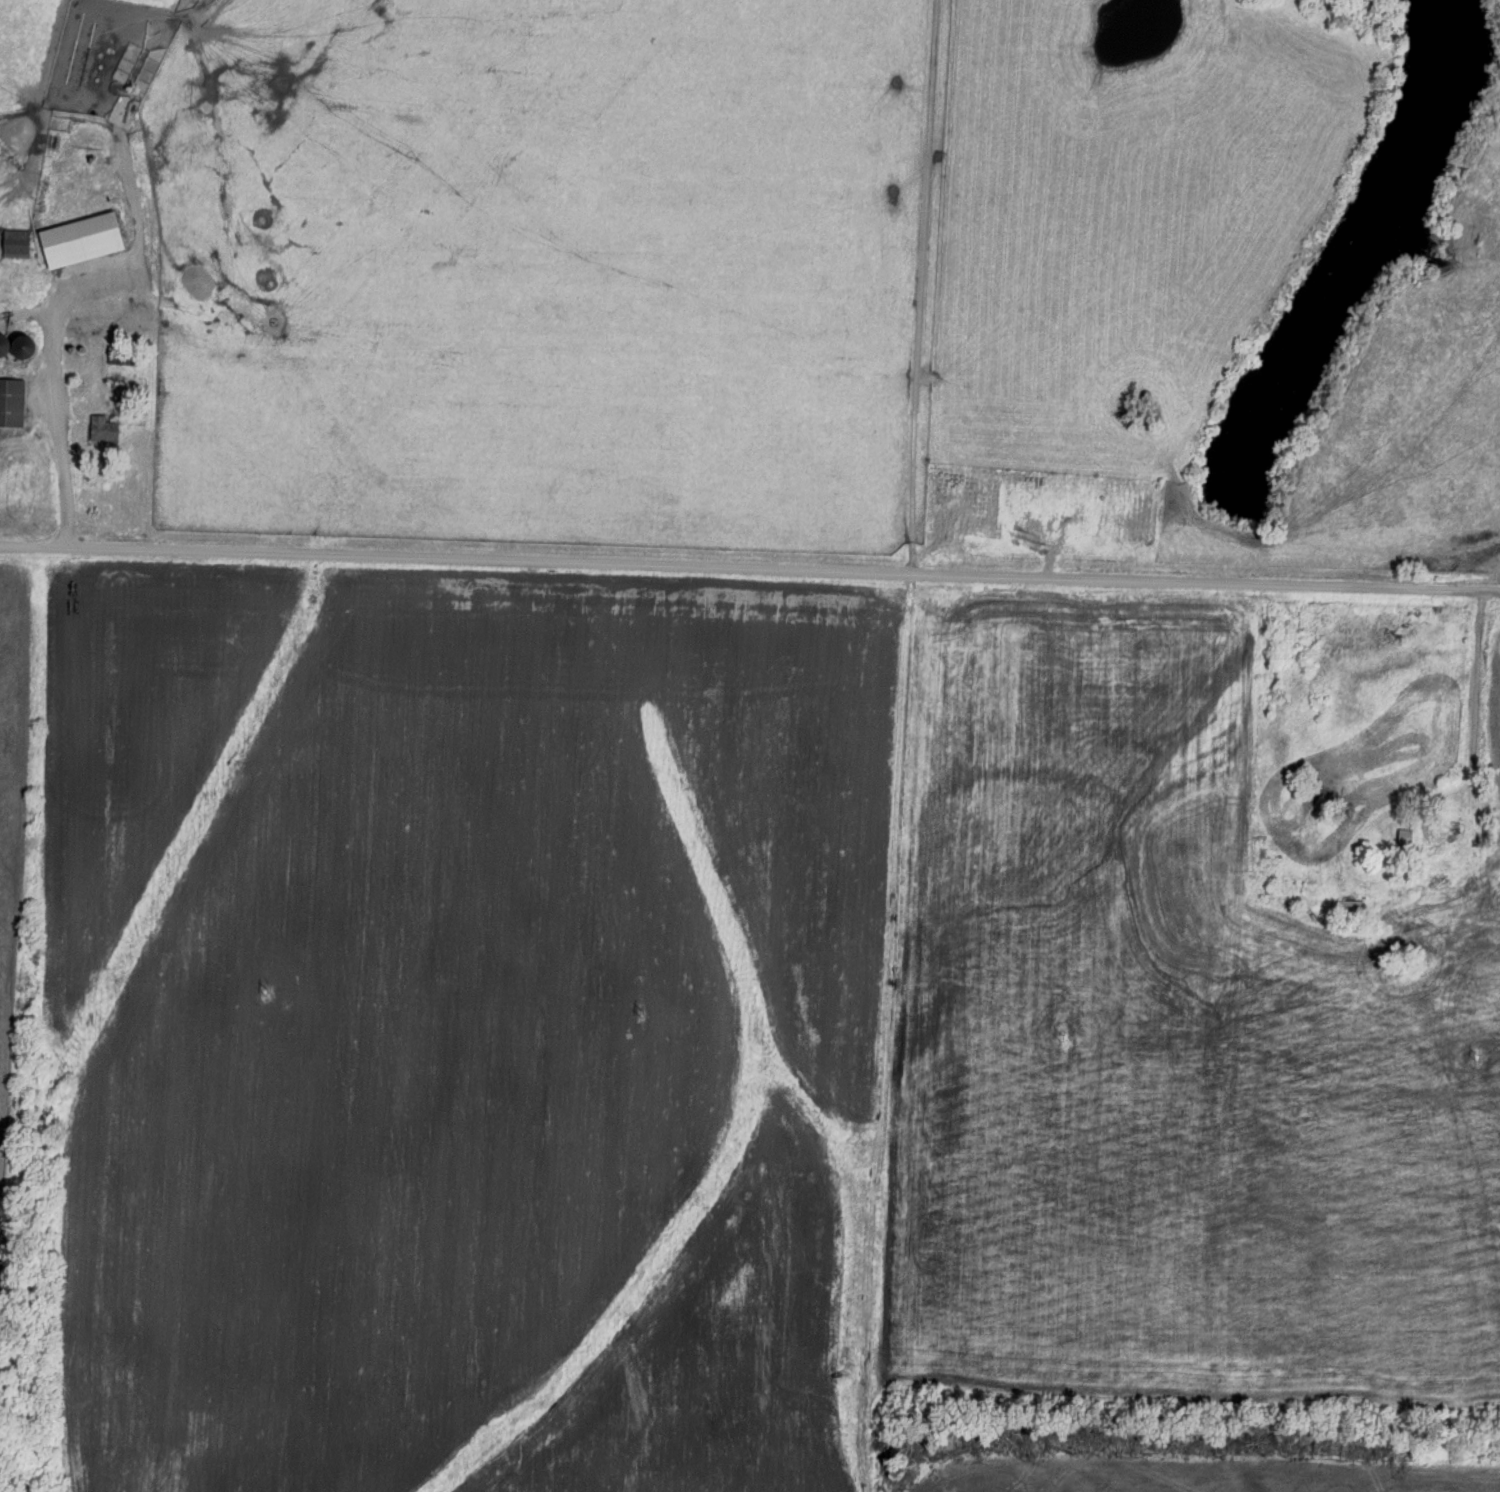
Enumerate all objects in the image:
building: (83, 241)
building: (7, 348)
building: (116, 357)
building: (13, 403)
road: (55, 416)
building: (105, 430)
road: (749, 570)
building: (1405, 837)
road: (879, 1033)

